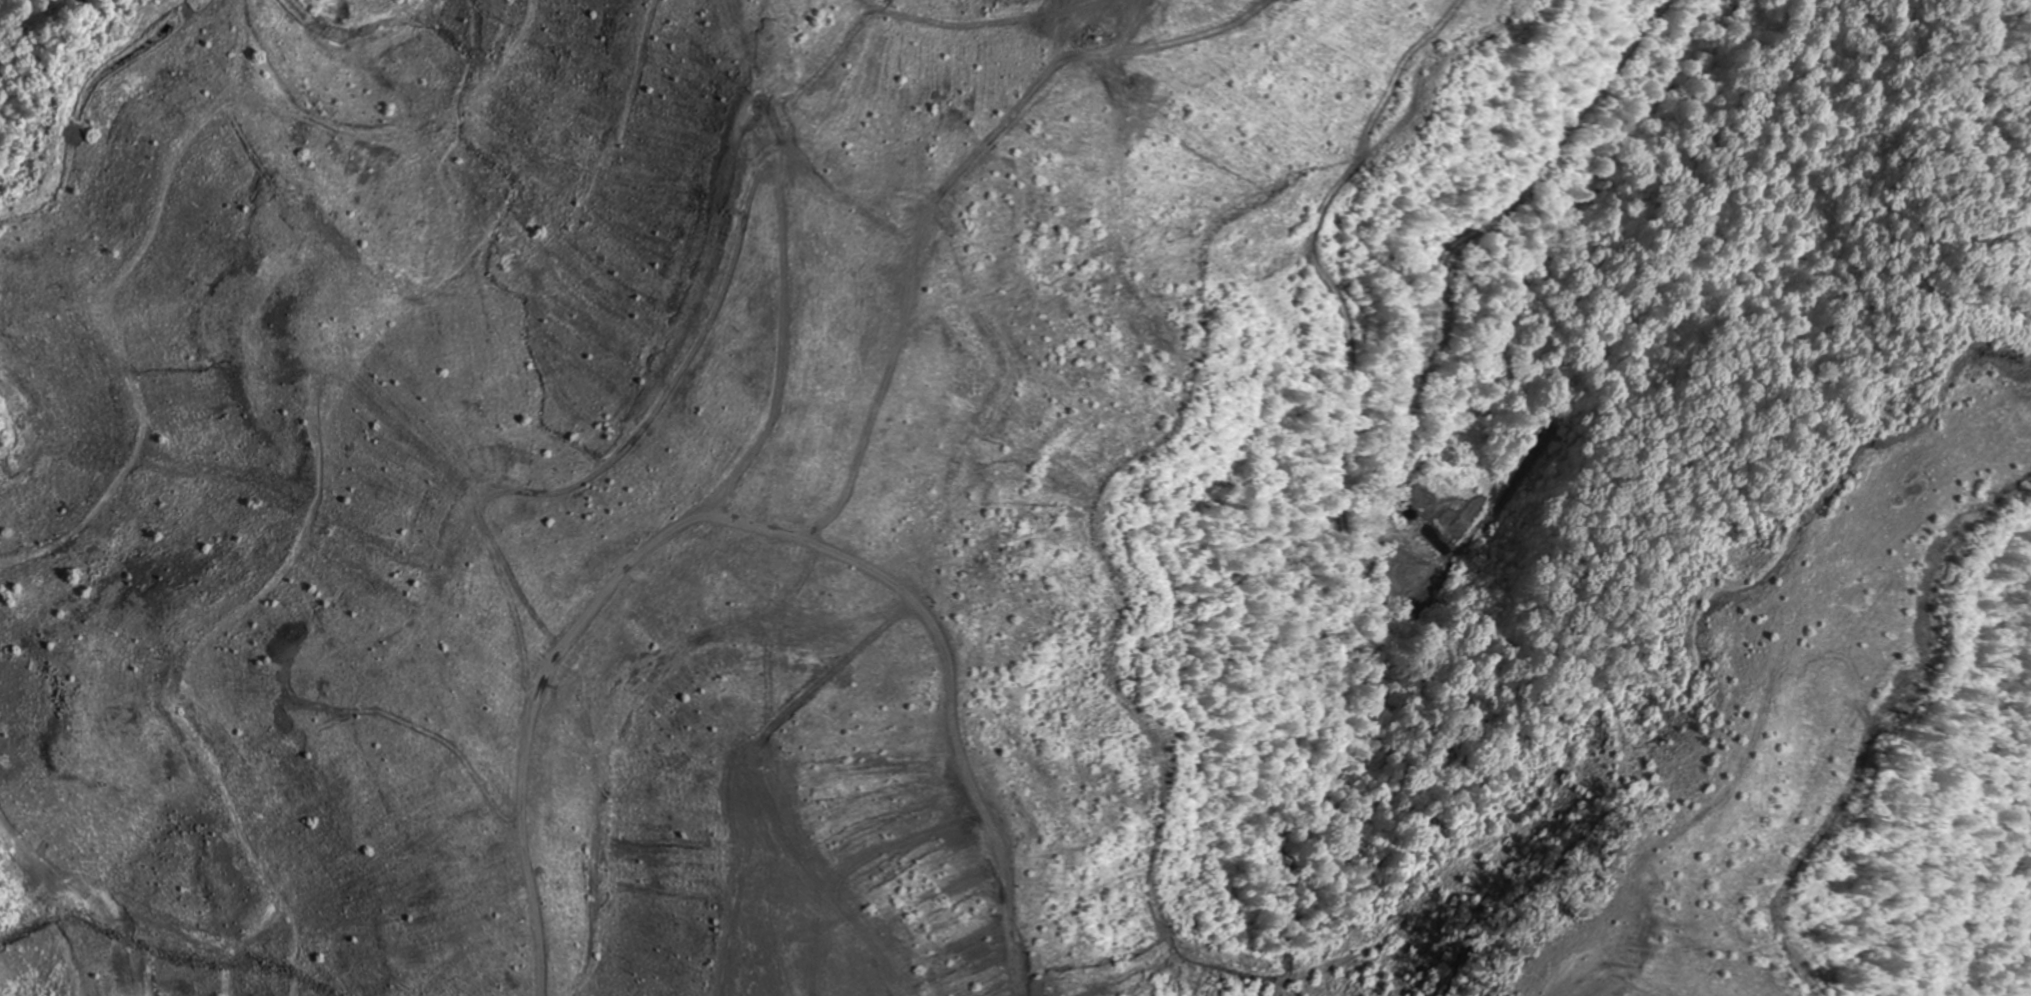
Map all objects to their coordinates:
road: (16, 14)

